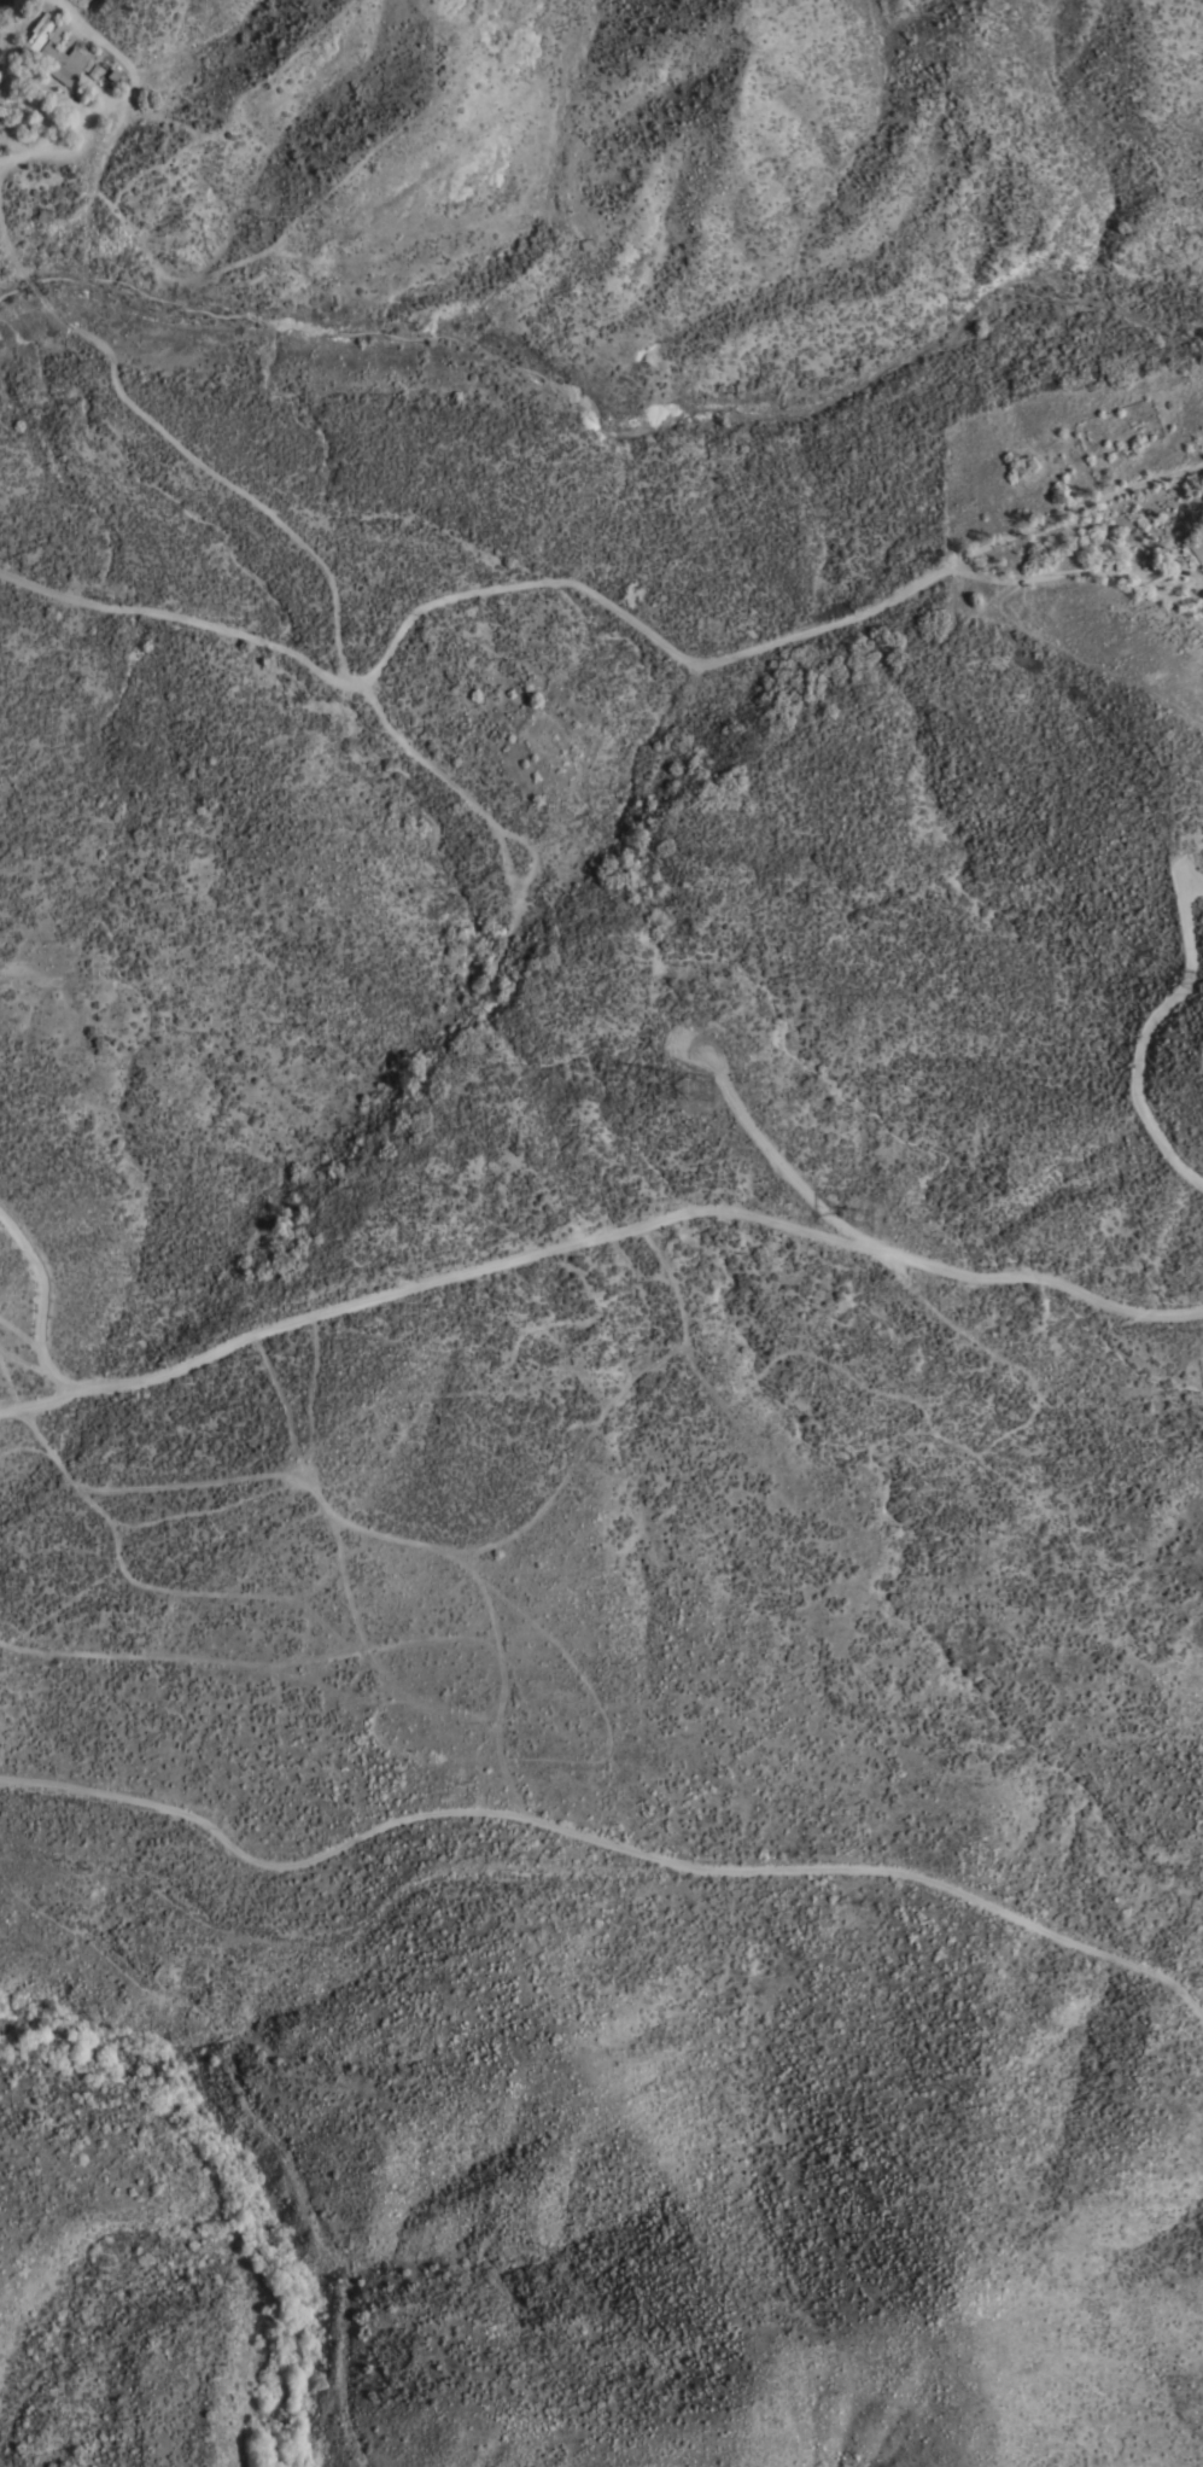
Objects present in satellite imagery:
building: (43, 34)
building: (64, 63)
road: (117, 98)
road: (1079, 506)
building: (1193, 549)
road: (1079, 570)
road: (473, 594)
road: (1146, 1030)
power tower: (705, 1093)
road: (777, 1145)
power tower: (865, 1219)
road: (597, 1235)
road: (598, 1843)

